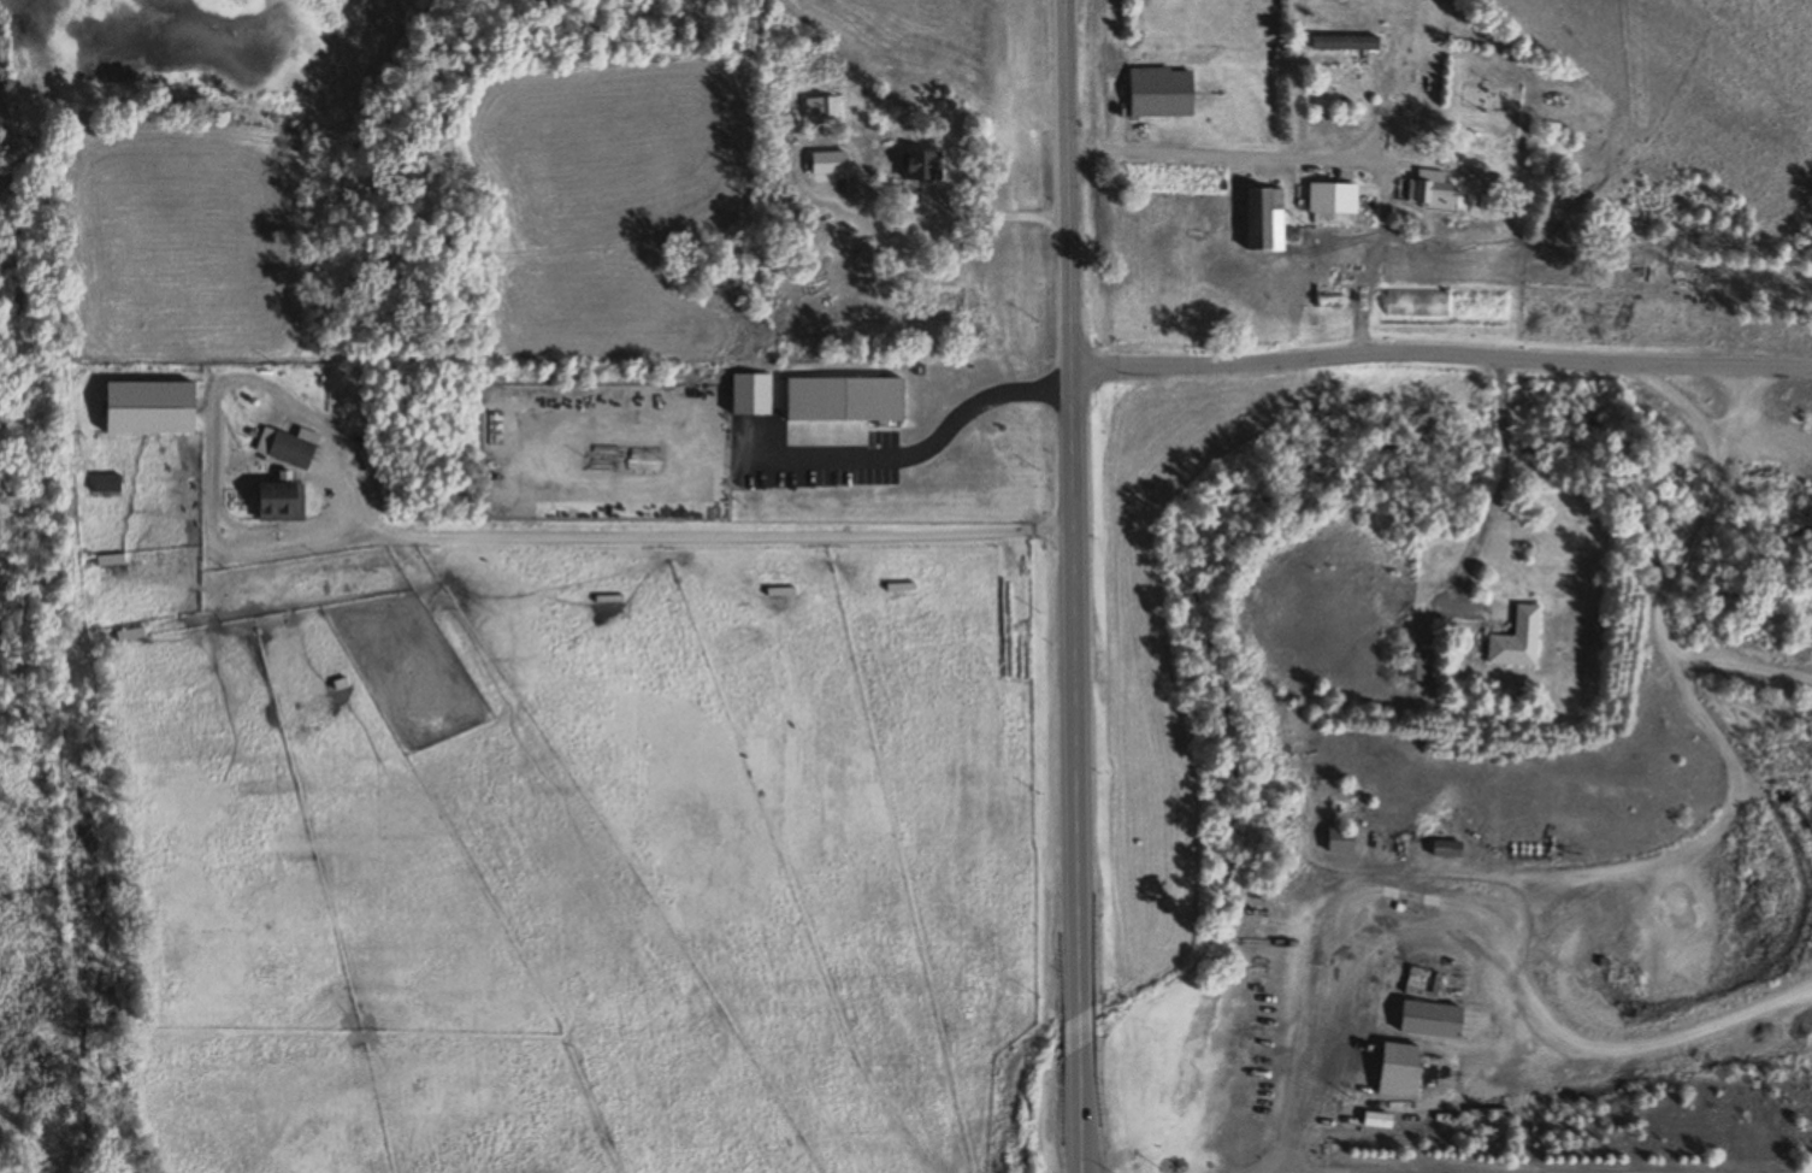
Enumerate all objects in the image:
building: (1345, 49)
building: (1158, 93)
building: (819, 108)
road: (1217, 158)
building: (834, 163)
building: (919, 166)
building: (1428, 190)
building: (1329, 199)
crop: (624, 211)
building: (1258, 217)
crop: (190, 255)
building: (1636, 275)
road: (1439, 353)
building: (748, 394)
building: (842, 400)
building: (282, 449)
building: (104, 484)
building: (276, 503)
road: (1070, 586)
building: (778, 591)
building: (607, 600)
building: (130, 635)
building: (1515, 641)
building: (1412, 668)
quarry: (1445, 825)
building: (1338, 841)
building: (1445, 849)
crop: (22, 909)
building: (1430, 1020)
building: (1398, 1072)
building: (1376, 1120)

